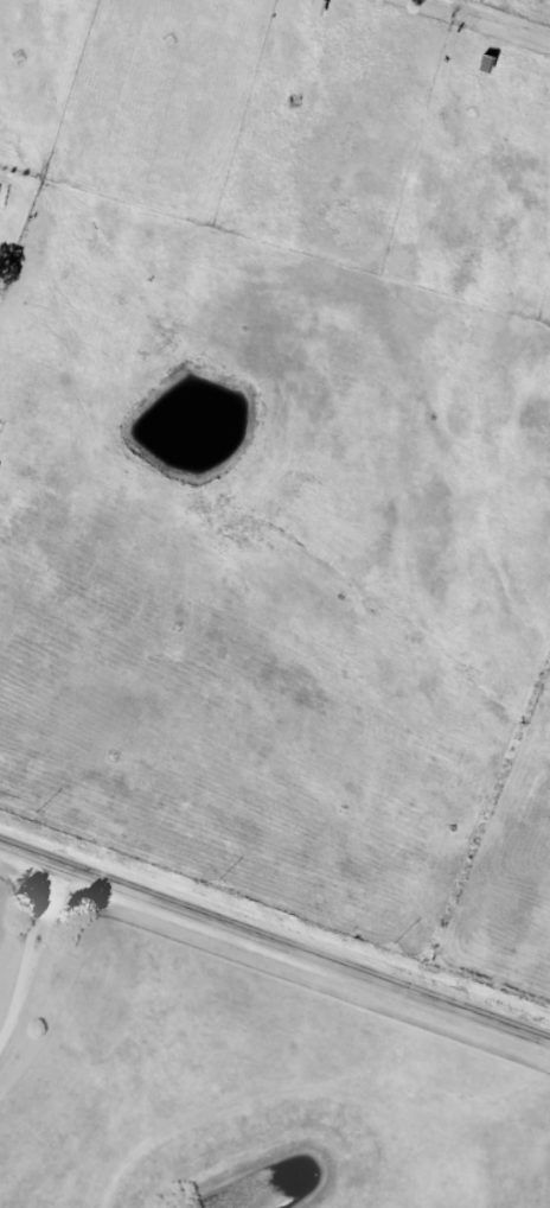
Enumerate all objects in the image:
road: (274, 942)
road: (30, 954)

